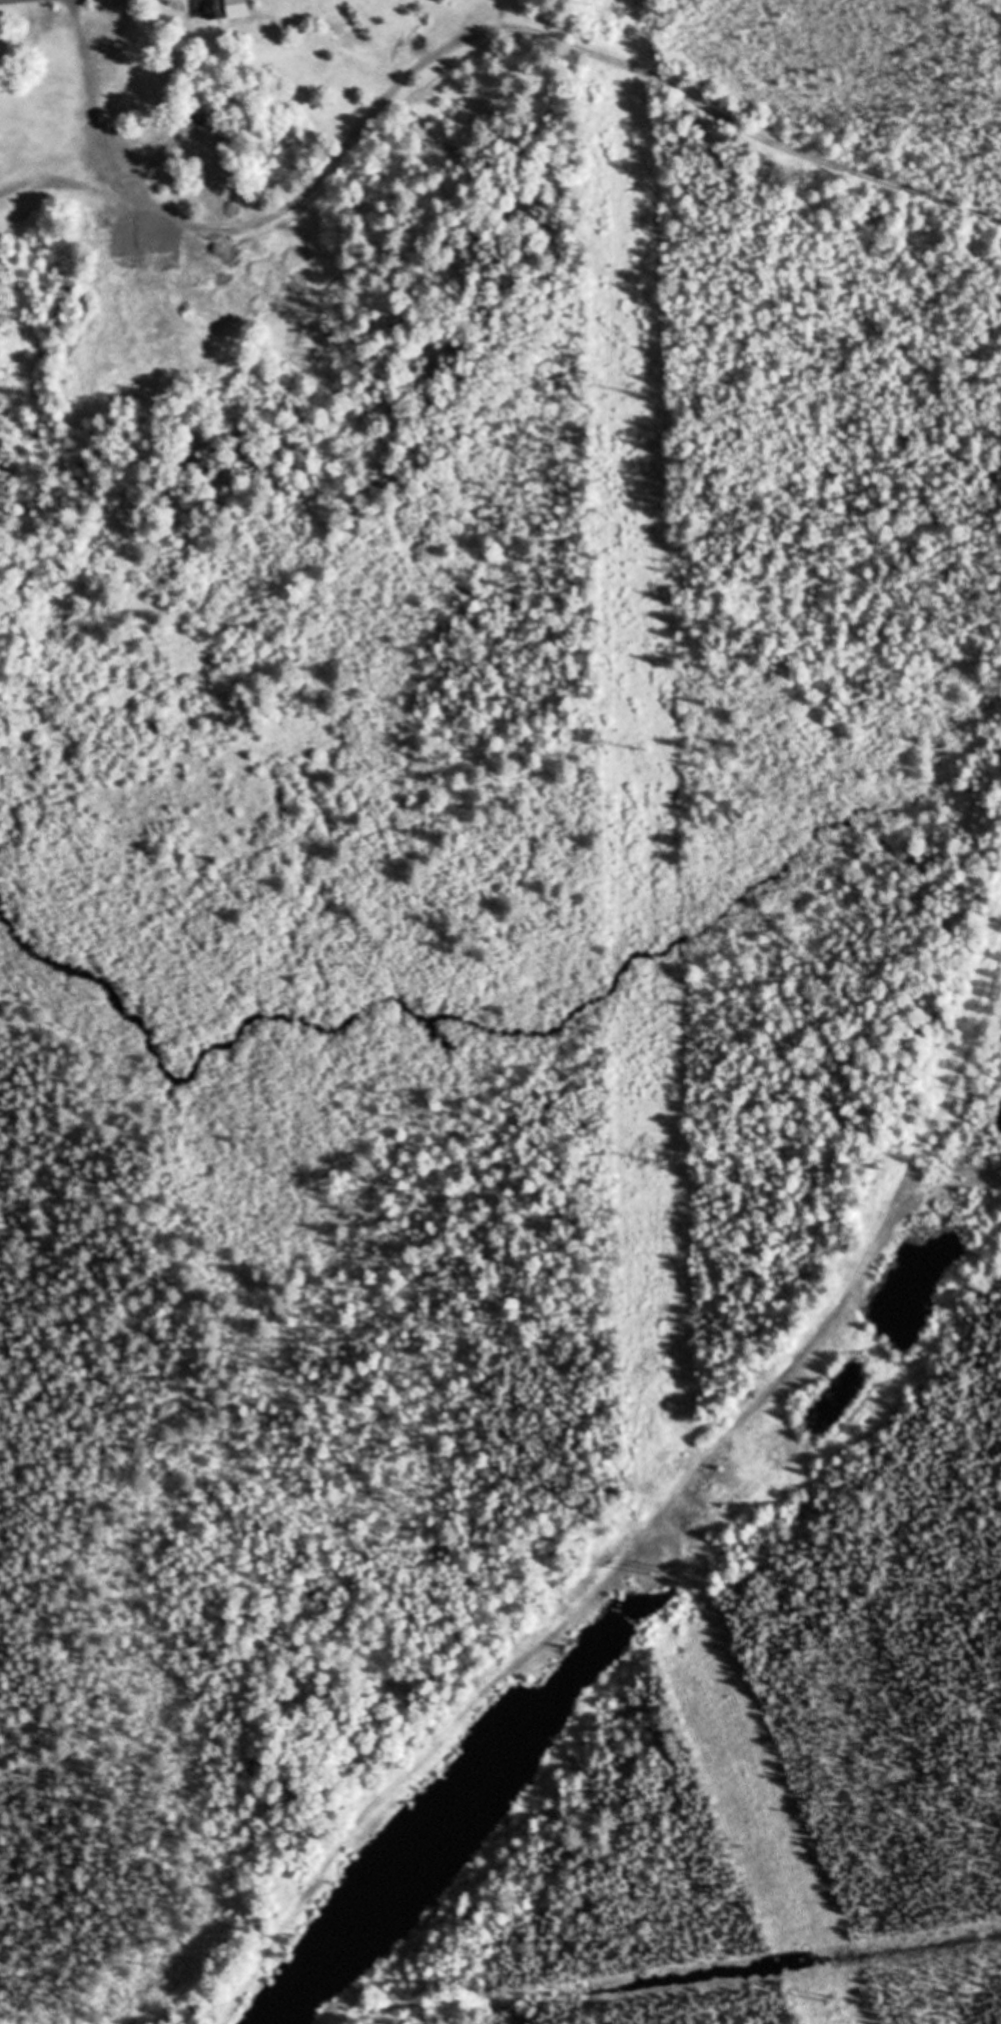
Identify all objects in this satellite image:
road: (3, 0)
building: (227, 9)
building: (329, 35)
road: (478, 37)
building: (202, 123)
road: (655, 1519)

